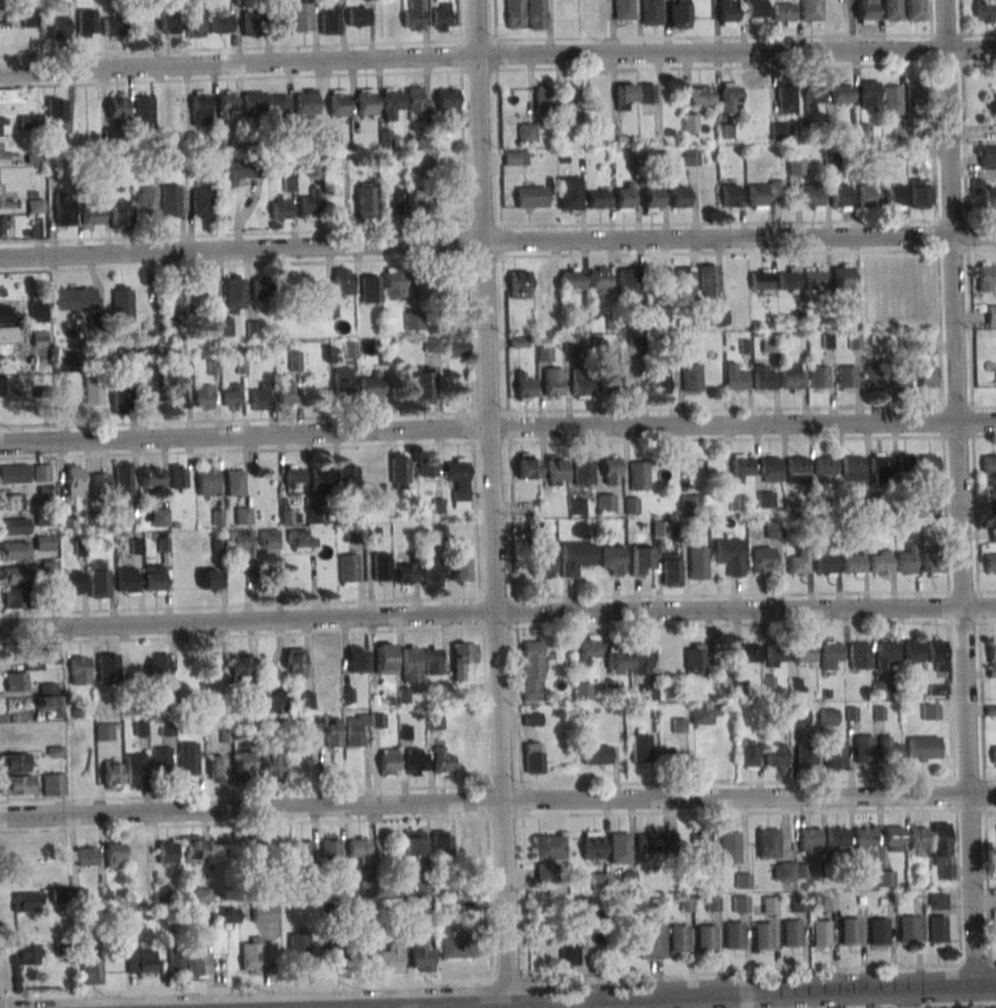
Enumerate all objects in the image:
building: (755, 9)
building: (866, 9)
building: (892, 9)
building: (623, 10)
building: (810, 10)
building: (915, 10)
building: (985, 11)
building: (783, 12)
building: (651, 13)
building: (727, 13)
building: (515, 14)
building: (536, 14)
building: (679, 14)
building: (0, 15)
building: (303, 16)
building: (358, 16)
building: (413, 16)
building: (440, 17)
building: (169, 21)
building: (330, 21)
building: (86, 22)
building: (194, 22)
building: (221, 23)
building: (250, 23)
building: (281, 24)
building: (113, 26)
building: (58, 29)
road: (497, 54)
building: (646, 93)
building: (840, 93)
building: (625, 95)
building: (701, 95)
building: (869, 95)
building: (11, 96)
building: (812, 97)
building: (730, 98)
building: (415, 99)
building: (892, 99)
building: (914, 99)
building: (542, 100)
building: (571, 100)
building: (786, 100)
building: (306, 101)
building: (366, 101)
building: (391, 102)
building: (338, 103)
building: (253, 104)
building: (993, 104)
building: (117, 105)
building: (227, 105)
building: (279, 107)
building: (200, 108)
building: (143, 109)
building: (448, 109)
building: (56, 113)
building: (3, 122)
building: (30, 122)
building: (690, 122)
building: (725, 131)
building: (899, 131)
building: (527, 132)
building: (386, 140)
building: (332, 141)
building: (3, 153)
building: (34, 157)
building: (985, 157)
building: (516, 158)
building: (689, 158)
building: (631, 163)
building: (342, 165)
building: (796, 166)
building: (314, 167)
building: (233, 172)
building: (976, 186)
building: (570, 193)
building: (763, 193)
building: (919, 193)
building: (528, 196)
building: (728, 196)
building: (894, 196)
building: (624, 197)
building: (679, 197)
building: (812, 197)
building: (867, 197)
building: (840, 198)
building: (5, 199)
building: (598, 199)
building: (652, 199)
building: (391, 200)
building: (144, 201)
building: (170, 201)
building: (366, 201)
building: (418, 201)
building: (202, 203)
building: (310, 205)
building: (36, 206)
building: (280, 208)
building: (64, 210)
building: (92, 216)
building: (118, 216)
building: (2, 225)
road: (497, 241)
building: (842, 276)
building: (986, 276)
building: (788, 278)
building: (816, 278)
building: (572, 279)
building: (599, 280)
building: (760, 280)
building: (708, 281)
building: (343, 282)
building: (685, 282)
building: (395, 283)
building: (628, 283)
building: (519, 284)
building: (261, 288)
building: (371, 288)
building: (451, 289)
building: (234, 294)
building: (75, 298)
building: (179, 301)
building: (122, 304)
building: (38, 311)
building: (8, 314)
building: (991, 314)
building: (719, 318)
building: (413, 320)
building: (222, 325)
building: (152, 332)
building: (9, 335)
building: (40, 338)
building: (571, 342)
building: (432, 345)
building: (458, 348)
building: (544, 354)
building: (295, 360)
building: (64, 362)
building: (763, 377)
building: (818, 377)
building: (874, 377)
building: (691, 378)
building: (735, 378)
building: (846, 378)
building: (900, 378)
building: (926, 378)
building: (608, 380)
building: (342, 381)
building: (659, 381)
building: (553, 382)
building: (580, 384)
building: (7, 386)
building: (370, 387)
building: (423, 387)
building: (153, 388)
building: (525, 388)
building: (93, 390)
building: (287, 392)
building: (121, 395)
building: (177, 396)
building: (204, 396)
building: (233, 396)
building: (260, 398)
road: (971, 409)
road: (497, 426)
road: (984, 435)
building: (906, 465)
building: (928, 465)
building: (989, 465)
building: (528, 466)
building: (824, 466)
building: (852, 466)
building: (880, 466)
building: (427, 467)
building: (769, 467)
building: (797, 467)
building: (742, 468)
building: (400, 470)
building: (556, 470)
building: (610, 471)
building: (582, 472)
building: (43, 473)
building: (693, 473)
building: (15, 474)
building: (638, 475)
building: (178, 476)
building: (294, 476)
building: (347, 476)
building: (123, 477)
building: (152, 477)
building: (321, 478)
building: (75, 480)
building: (208, 480)
building: (458, 481)
building: (234, 482)
building: (101, 483)
building: (46, 493)
road: (958, 493)
road: (492, 499)
building: (765, 499)
building: (687, 500)
building: (11, 501)
building: (606, 502)
building: (631, 505)
building: (576, 507)
road: (974, 514)
building: (243, 515)
building: (68, 519)
building: (15, 526)
building: (773, 530)
building: (269, 540)
building: (301, 540)
building: (45, 543)
building: (241, 544)
building: (14, 551)
building: (729, 556)
building: (575, 557)
building: (762, 559)
building: (610, 560)
building: (932, 560)
building: (639, 561)
building: (907, 561)
building: (697, 563)
building: (541, 564)
building: (852, 564)
building: (880, 564)
building: (990, 564)
building: (797, 565)
building: (825, 565)
building: (381, 567)
building: (50, 568)
building: (348, 569)
building: (670, 569)
building: (458, 571)
building: (431, 572)
building: (403, 574)
building: (13, 575)
building: (99, 579)
building: (154, 579)
building: (209, 580)
building: (127, 581)
building: (73, 582)
building: (14, 598)
road: (947, 606)
road: (497, 612)
road: (513, 612)
building: (589, 648)
building: (991, 649)
building: (885, 650)
building: (829, 651)
building: (746, 652)
building: (774, 652)
building: (802, 652)
building: (912, 653)
building: (857, 655)
building: (937, 655)
building: (43, 658)
building: (461, 658)
building: (695, 658)
building: (354, 659)
building: (384, 659)
building: (641, 659)
building: (432, 660)
building: (617, 661)
building: (293, 663)
building: (410, 664)
building: (240, 666)
building: (108, 668)
building: (158, 668)
building: (80, 670)
building: (532, 670)
building: (17, 682)
building: (879, 688)
building: (937, 690)
building: (583, 691)
building: (49, 700)
building: (272, 700)
building: (930, 712)
building: (702, 715)
building: (799, 717)
building: (828, 717)
building: (532, 719)
building: (356, 728)
building: (104, 731)
building: (332, 731)
building: (640, 747)
building: (863, 748)
building: (923, 748)
building: (888, 749)
building: (775, 754)
building: (994, 754)
building: (596, 755)
building: (749, 755)
building: (805, 755)
building: (835, 755)
building: (189, 758)
building: (533, 758)
building: (162, 759)
building: (415, 759)
building: (672, 759)
building: (388, 761)
building: (441, 761)
building: (14, 762)
building: (244, 763)
building: (271, 765)
building: (218, 769)
building: (135, 770)
building: (109, 774)
building: (53, 784)
building: (17, 785)
road: (520, 799)
road: (497, 800)
building: (891, 834)
building: (807, 836)
building: (835, 836)
building: (863, 836)
building: (918, 839)
building: (766, 841)
building: (655, 842)
building: (440, 844)
building: (413, 845)
building: (593, 845)
building: (729, 847)
building: (619, 848)
building: (700, 848)
building: (192, 849)
building: (359, 849)
building: (469, 849)
building: (942, 850)
building: (331, 851)
building: (167, 852)
building: (304, 852)
building: (137, 853)
building: (250, 853)
building: (114, 855)
building: (85, 856)
building: (546, 859)
building: (785, 870)
building: (59, 872)
building: (885, 878)
building: (600, 881)
building: (742, 881)
building: (367, 888)
building: (58, 895)
building: (935, 900)
building: (28, 902)
building: (826, 902)
building: (710, 904)
building: (739, 904)
building: (768, 904)
building: (797, 904)
building: (582, 906)
building: (263, 914)
building: (225, 915)
building: (905, 928)
building: (935, 928)
building: (848, 930)
building: (877, 930)
building: (789, 932)
building: (819, 933)
building: (732, 935)
building: (760, 935)
building: (676, 938)
building: (704, 938)
building: (646, 939)
building: (298, 947)
building: (455, 949)
building: (568, 950)
building: (25, 953)
building: (365, 953)
building: (252, 955)
building: (421, 955)
building: (337, 956)
building: (177, 957)
building: (196, 959)
building: (391, 960)
building: (140, 962)
building: (91, 968)
road: (576, 997)
road: (491, 1003)
road: (192, 1007)

